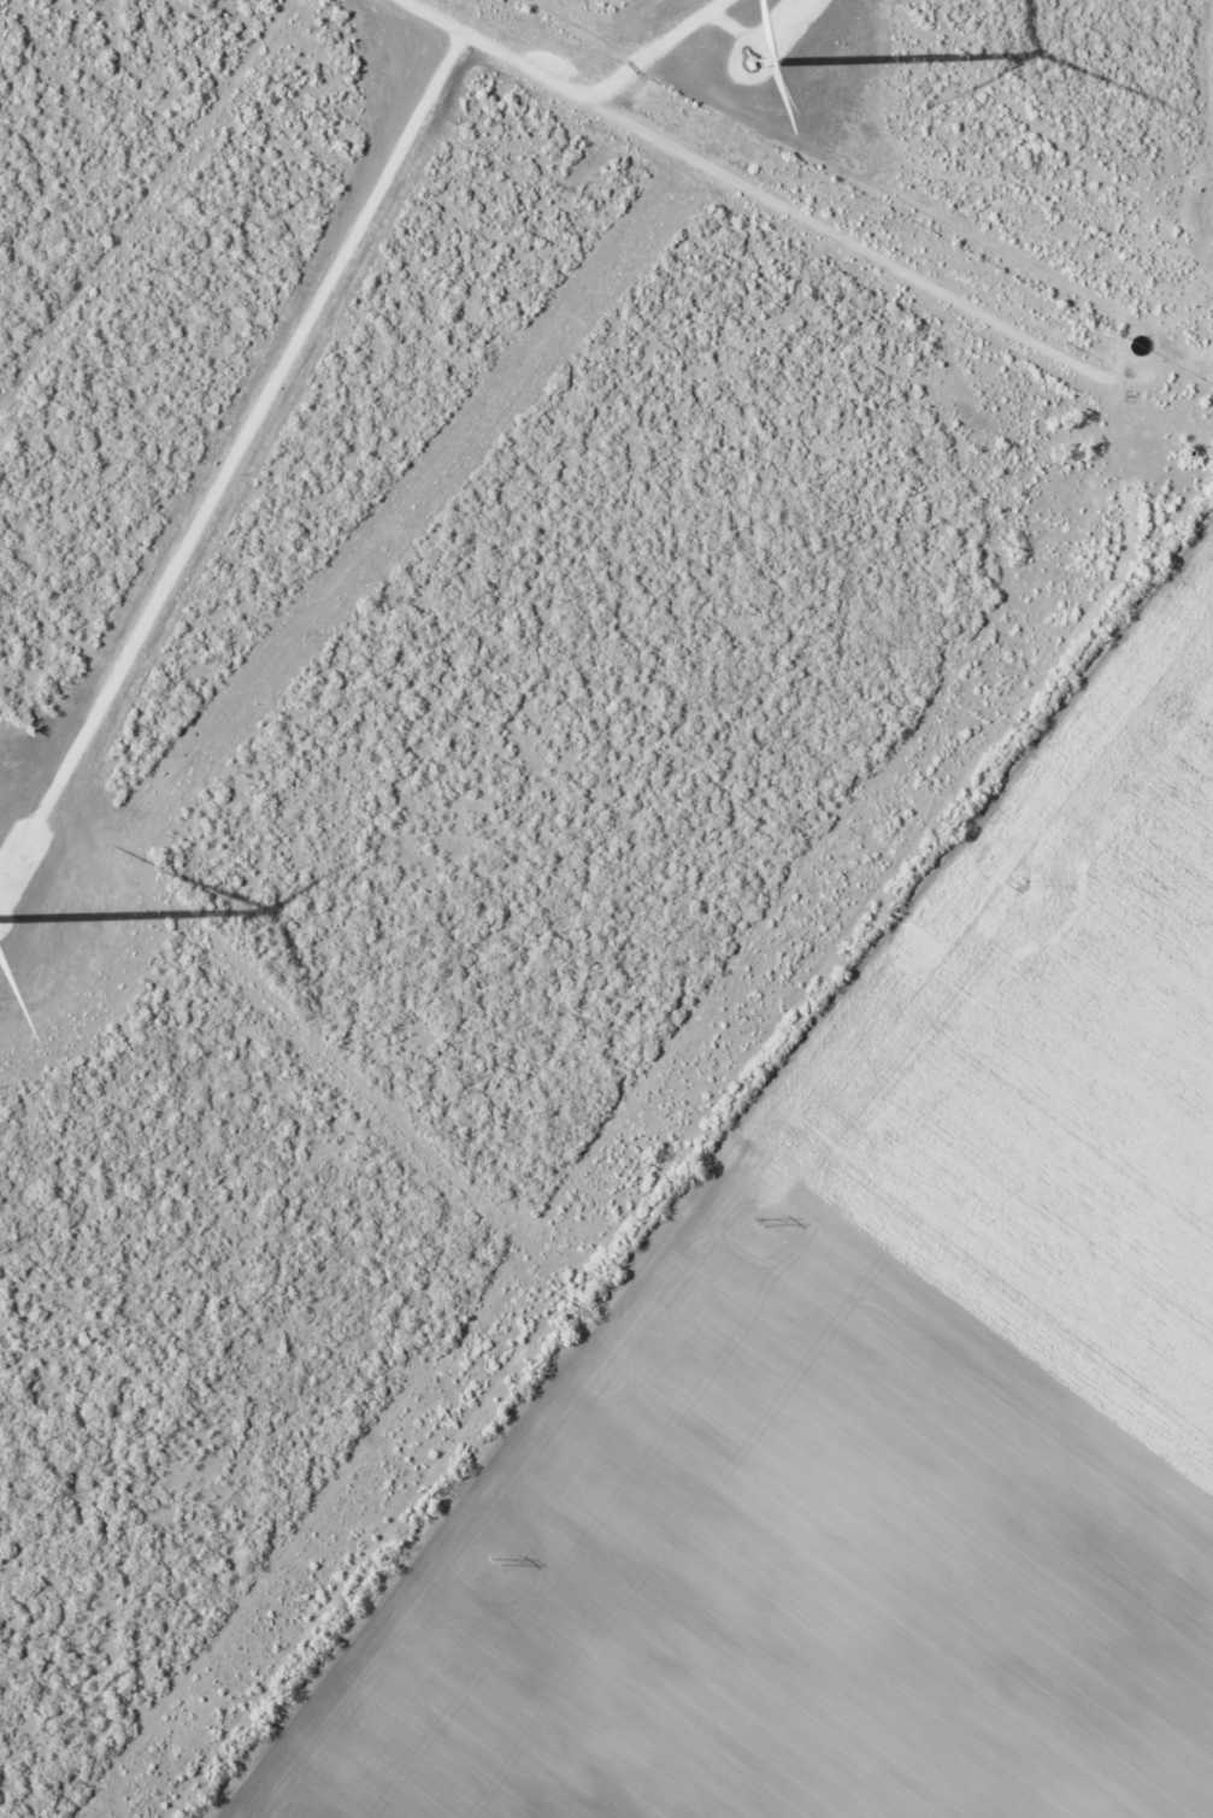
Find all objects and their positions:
wind turbine: (740, 59)
road: (1034, 775)
power tower: (1021, 882)
power tower: (760, 1220)
power tower: (497, 1561)

